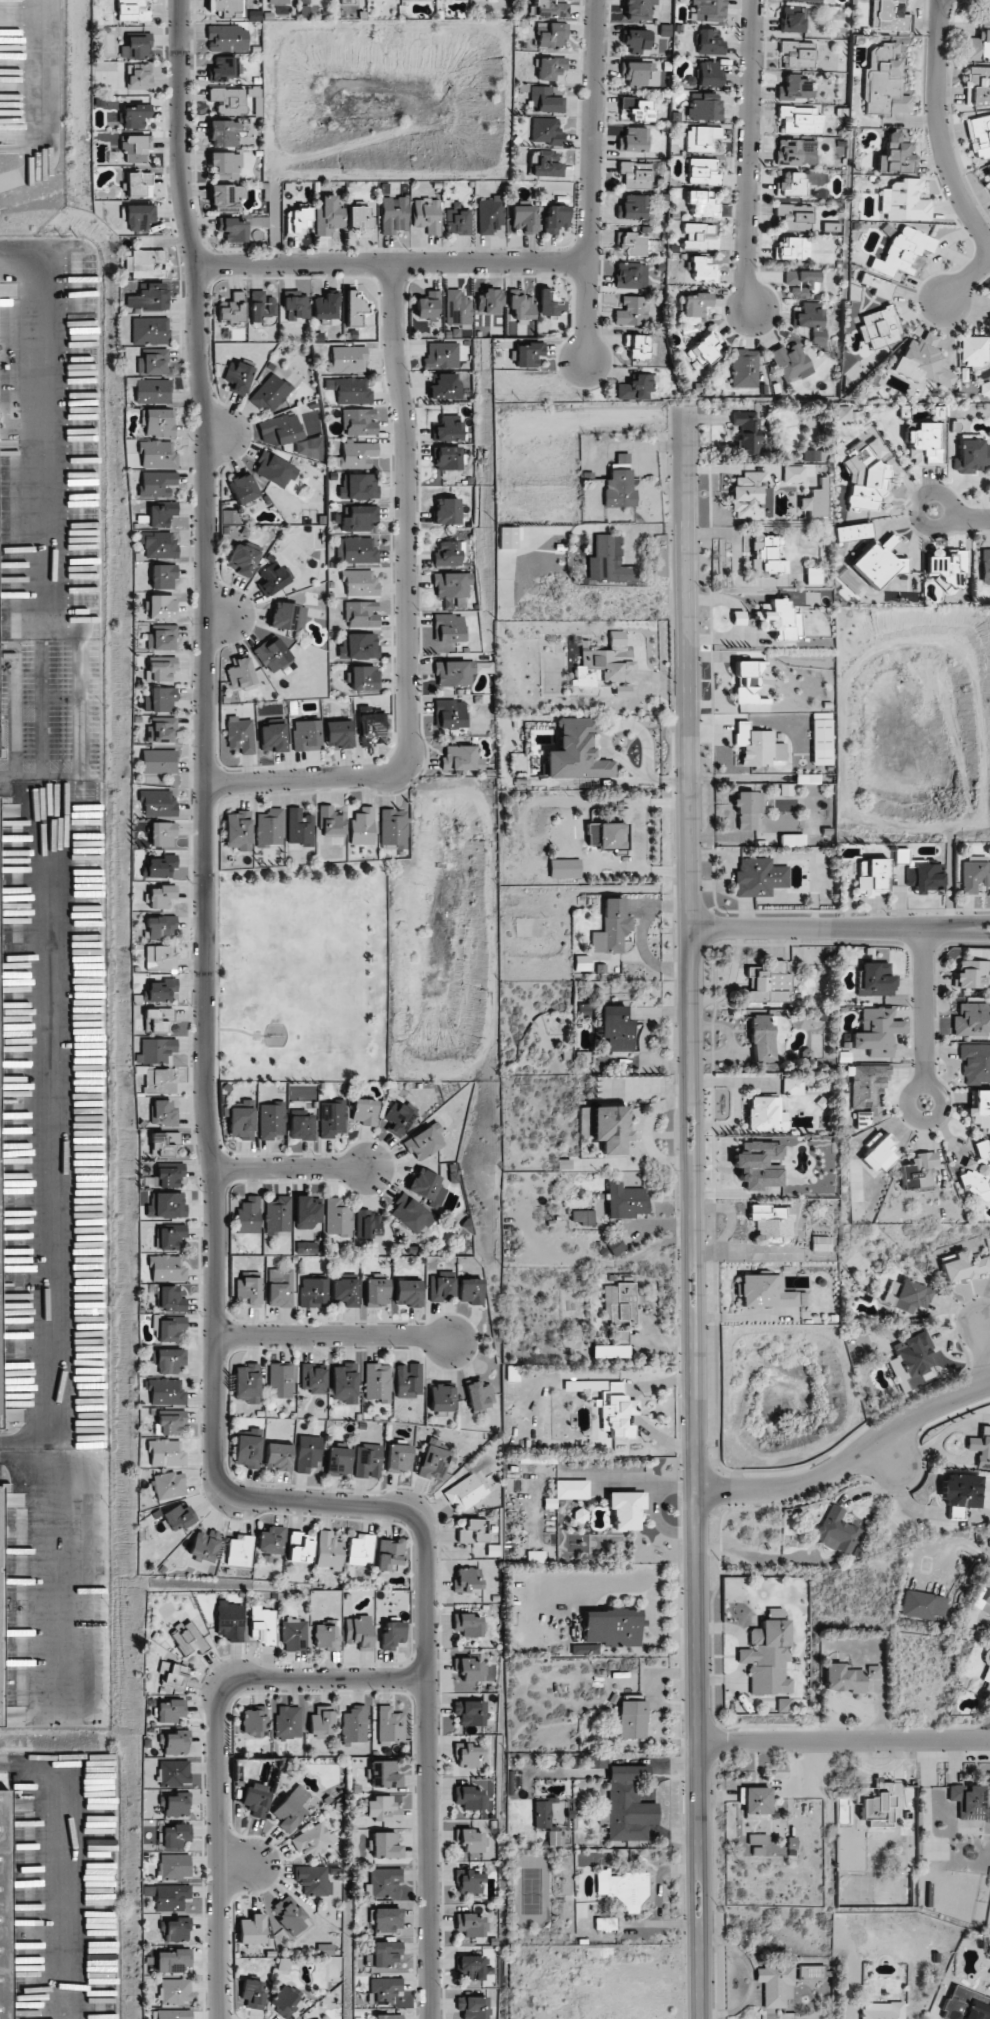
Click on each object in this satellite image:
building: (806, 0)
building: (277, 1)
building: (227, 8)
building: (550, 8)
building: (637, 9)
building: (705, 10)
building: (131, 11)
building: (887, 15)
building: (792, 19)
building: (985, 23)
building: (551, 35)
building: (227, 38)
building: (637, 40)
building: (709, 42)
building: (135, 46)
building: (977, 47)
building: (798, 54)
building: (550, 67)
building: (223, 68)
building: (639, 74)
building: (709, 74)
building: (137, 77)
building: (882, 82)
building: (977, 86)
building: (794, 88)
building: (228, 100)
building: (544, 100)
road: (41, 105)
building: (703, 107)
building: (637, 109)
building: (134, 116)
building: (800, 120)
road: (939, 129)
building: (546, 131)
building: (223, 133)
building: (979, 135)
building: (702, 139)
building: (633, 140)
building: (137, 149)
building: (795, 152)
building: (895, 155)
road: (746, 156)
building: (546, 164)
building: (225, 165)
building: (701, 171)
building: (635, 174)
road: (591, 182)
building: (138, 184)
building: (792, 185)
building: (226, 197)
building: (904, 201)
building: (700, 203)
building: (632, 207)
building: (393, 215)
building: (427, 215)
building: (328, 216)
building: (359, 216)
building: (491, 216)
building: (137, 217)
building: (792, 217)
building: (524, 218)
building: (555, 218)
building: (296, 220)
building: (458, 221)
building: (234, 229)
building: (698, 236)
building: (634, 245)
building: (791, 248)
building: (903, 253)
building: (143, 263)
road: (391, 264)
building: (702, 269)
building: (630, 275)
road: (966, 280)
building: (877, 286)
building: (147, 297)
building: (490, 302)
building: (549, 303)
building: (694, 304)
building: (520, 305)
building: (262, 306)
building: (325, 306)
building: (427, 306)
building: (296, 307)
building: (355, 307)
building: (457, 308)
building: (233, 310)
building: (631, 311)
building: (810, 317)
building: (878, 327)
building: (149, 330)
building: (637, 346)
building: (706, 346)
building: (974, 350)
building: (527, 354)
building: (441, 355)
building: (346, 359)
building: (152, 361)
building: (790, 362)
building: (921, 362)
building: (744, 368)
building: (237, 377)
building: (445, 386)
building: (637, 387)
building: (349, 390)
building: (152, 391)
building: (269, 394)
building: (842, 413)
building: (358, 421)
building: (158, 422)
building: (283, 428)
building: (447, 429)
road: (224, 430)
building: (746, 431)
building: (268, 439)
building: (308, 448)
building: (157, 454)
building: (971, 454)
building: (354, 455)
building: (811, 455)
building: (447, 457)
building: (274, 470)
building: (793, 474)
building: (866, 479)
building: (156, 483)
building: (356, 486)
building: (619, 487)
building: (242, 488)
building: (750, 495)
building: (447, 511)
building: (161, 514)
road: (407, 514)
road: (961, 517)
building: (358, 518)
building: (852, 532)
building: (507, 537)
building: (157, 544)
building: (355, 550)
building: (448, 554)
building: (766, 554)
building: (242, 559)
building: (608, 561)
building: (986, 561)
building: (877, 562)
building: (946, 567)
building: (812, 575)
building: (162, 576)
building: (272, 579)
building: (359, 582)
building: (452, 586)
building: (161, 606)
building: (361, 614)
building: (287, 616)
road: (225, 617)
building: (449, 628)
building: (161, 637)
building: (445, 645)
building: (358, 646)
building: (272, 655)
building: (604, 662)
road: (687, 665)
building: (484, 667)
building: (160, 668)
building: (239, 673)
building: (454, 673)
building: (363, 677)
building: (748, 683)
building: (622, 691)
building: (159, 699)
building: (450, 713)
building: (371, 726)
building: (161, 729)
building: (337, 733)
building: (239, 734)
building: (306, 735)
building: (272, 737)
building: (821, 739)
building: (757, 745)
road: (203, 746)
building: (576, 752)
building: (2, 753)
building: (461, 758)
building: (159, 761)
road: (302, 779)
building: (157, 802)
building: (748, 809)
building: (331, 822)
building: (362, 826)
building: (269, 827)
building: (299, 827)
building: (393, 828)
building: (237, 830)
building: (162, 834)
building: (609, 838)
building: (792, 840)
building: (159, 866)
building: (564, 868)
building: (921, 873)
building: (974, 873)
building: (872, 876)
building: (759, 877)
building: (161, 896)
road: (974, 924)
building: (159, 926)
building: (612, 928)
road: (824, 929)
road: (974, 933)
building: (159, 957)
park: (300, 972)
building: (972, 975)
building: (875, 979)
building: (769, 983)
building: (159, 990)
building: (583, 1009)
road: (925, 1016)
building: (158, 1020)
building: (972, 1020)
building: (616, 1029)
building: (876, 1032)
building: (762, 1038)
building: (154, 1050)
building: (975, 1061)
building: (158, 1081)
building: (867, 1091)
building: (979, 1110)
building: (364, 1111)
building: (162, 1113)
building: (765, 1114)
building: (331, 1118)
building: (397, 1118)
building: (241, 1120)
building: (271, 1121)
building: (301, 1127)
building: (610, 1129)
building: (424, 1141)
building: (164, 1144)
building: (878, 1152)
building: (757, 1164)
road: (290, 1169)
building: (918, 1171)
building: (977, 1172)
building: (167, 1176)
building: (427, 1186)
building: (625, 1201)
building: (165, 1204)
building: (306, 1212)
building: (410, 1214)
building: (248, 1215)
building: (277, 1215)
building: (337, 1217)
building: (582, 1217)
building: (367, 1224)
building: (170, 1237)
building: (820, 1244)
building: (614, 1245)
building: (305, 1247)
building: (963, 1266)
building: (166, 1268)
building: (279, 1288)
building: (441, 1289)
building: (248, 1290)
building: (471, 1290)
building: (765, 1291)
building: (312, 1292)
building: (343, 1292)
building: (376, 1292)
building: (407, 1293)
building: (907, 1295)
building: (170, 1299)
building: (619, 1302)
building: (169, 1328)
road: (332, 1336)
road: (986, 1336)
building: (612, 1346)
building: (911, 1358)
building: (167, 1359)
building: (312, 1378)
building: (281, 1380)
building: (408, 1380)
building: (377, 1382)
building: (246, 1383)
building: (344, 1383)
building: (165, 1391)
building: (479, 1395)
building: (441, 1398)
building: (0, 1403)
building: (616, 1411)
building: (171, 1422)
building: (981, 1446)
building: (247, 1448)
building: (165, 1453)
building: (307, 1453)
building: (278, 1456)
building: (398, 1457)
building: (433, 1459)
road: (852, 1459)
building: (338, 1461)
building: (367, 1461)
road: (695, 1474)
building: (169, 1485)
building: (465, 1489)
building: (571, 1489)
building: (959, 1493)
road: (318, 1502)
building: (626, 1509)
building: (178, 1517)
building: (471, 1530)
building: (836, 1531)
building: (271, 1540)
building: (204, 1545)
building: (300, 1547)
building: (360, 1550)
building: (239, 1551)
building: (329, 1551)
building: (389, 1553)
building: (467, 1579)
building: (983, 1597)
building: (922, 1605)
building: (229, 1621)
building: (468, 1624)
building: (262, 1625)
building: (612, 1627)
building: (358, 1632)
building: (293, 1634)
building: (391, 1634)
building: (188, 1638)
building: (326, 1638)
building: (0, 1647)
building: (588, 1649)
building: (767, 1658)
building: (469, 1669)
building: (873, 1672)
building: (987, 1673)
building: (172, 1674)
building: (842, 1678)
building: (784, 1705)
building: (169, 1709)
building: (470, 1712)
building: (632, 1719)
building: (321, 1720)
building: (287, 1721)
building: (253, 1722)
building: (354, 1724)
building: (390, 1724)
road: (844, 1739)
building: (174, 1742)
road: (219, 1749)
building: (593, 1760)
road: (426, 1766)
building: (174, 1772)
building: (382, 1774)
building: (471, 1798)
building: (755, 1799)
building: (254, 1800)
building: (967, 1801)
building: (174, 1804)
building: (627, 1806)
building: (291, 1808)
building: (380, 1809)
building: (876, 1811)
building: (541, 1814)
building: (175, 1835)
building: (553, 1838)
building: (313, 1840)
building: (472, 1841)
building: (759, 1844)
building: (384, 1845)
road: (242, 1858)
building: (173, 1866)
road: (62, 1869)
building: (312, 1879)
building: (470, 1881)
building: (381, 1882)
building: (623, 1889)
building: (167, 1896)
building: (3, 1908)
building: (290, 1915)
building: (385, 1919)
building: (605, 1924)
building: (471, 1925)
building: (176, 1929)
building: (251, 1930)
building: (325, 1949)
building: (384, 1953)
building: (172, 1960)
building: (473, 1967)
building: (810, 1973)
building: (775, 1984)
building: (383, 1990)
building: (175, 1991)
building: (252, 1994)
building: (973, 1996)
building: (284, 2000)
building: (473, 2007)
building: (881, 2010)
building: (170, 2014)
building: (387, 2016)

